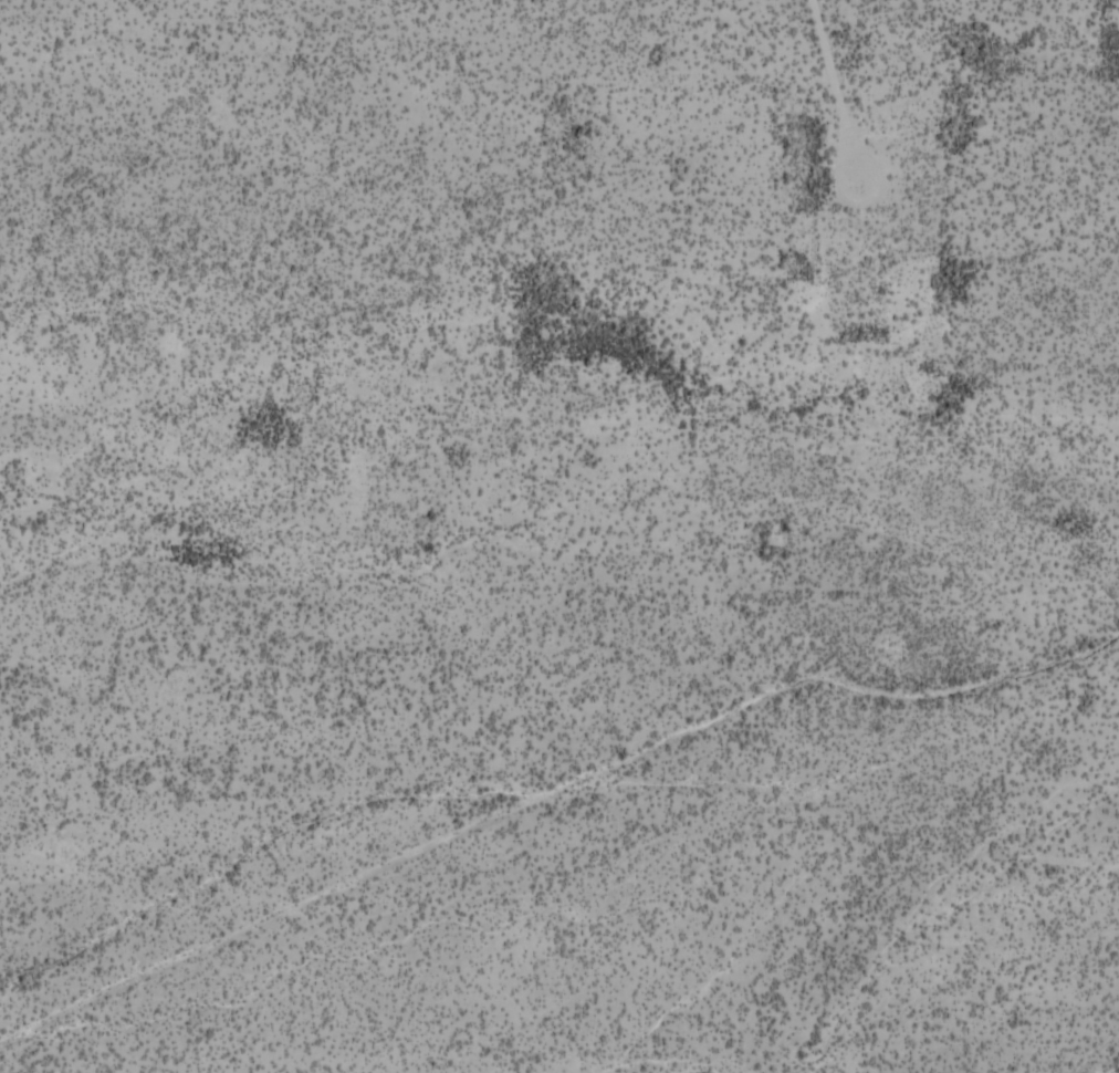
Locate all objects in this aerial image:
building: (38, 1062)

